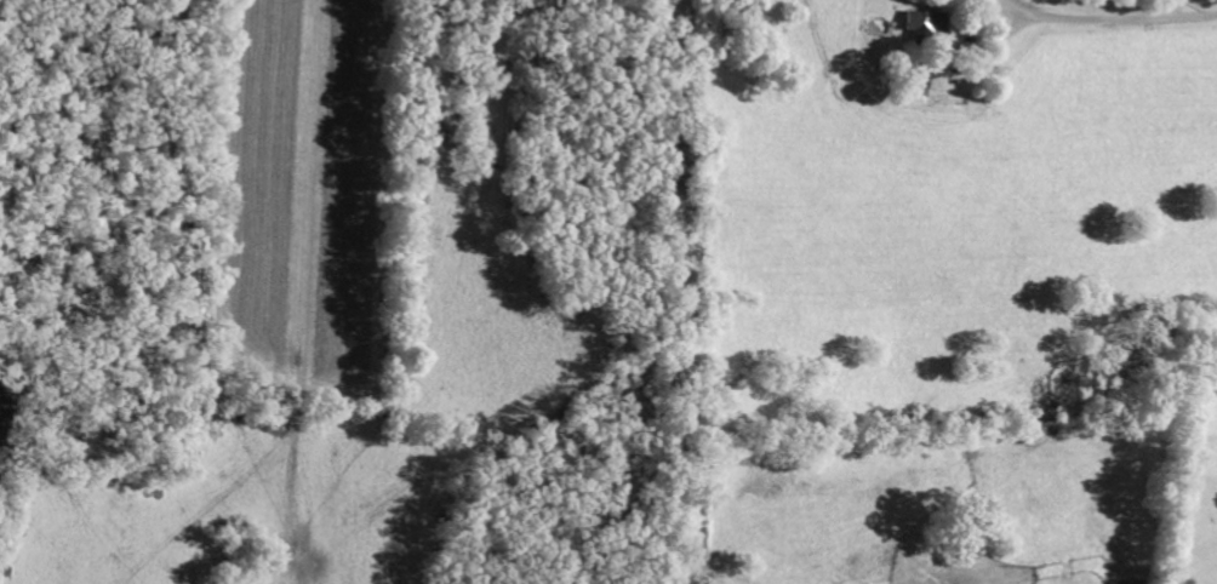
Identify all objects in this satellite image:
road: (1104, 21)
building: (925, 22)

